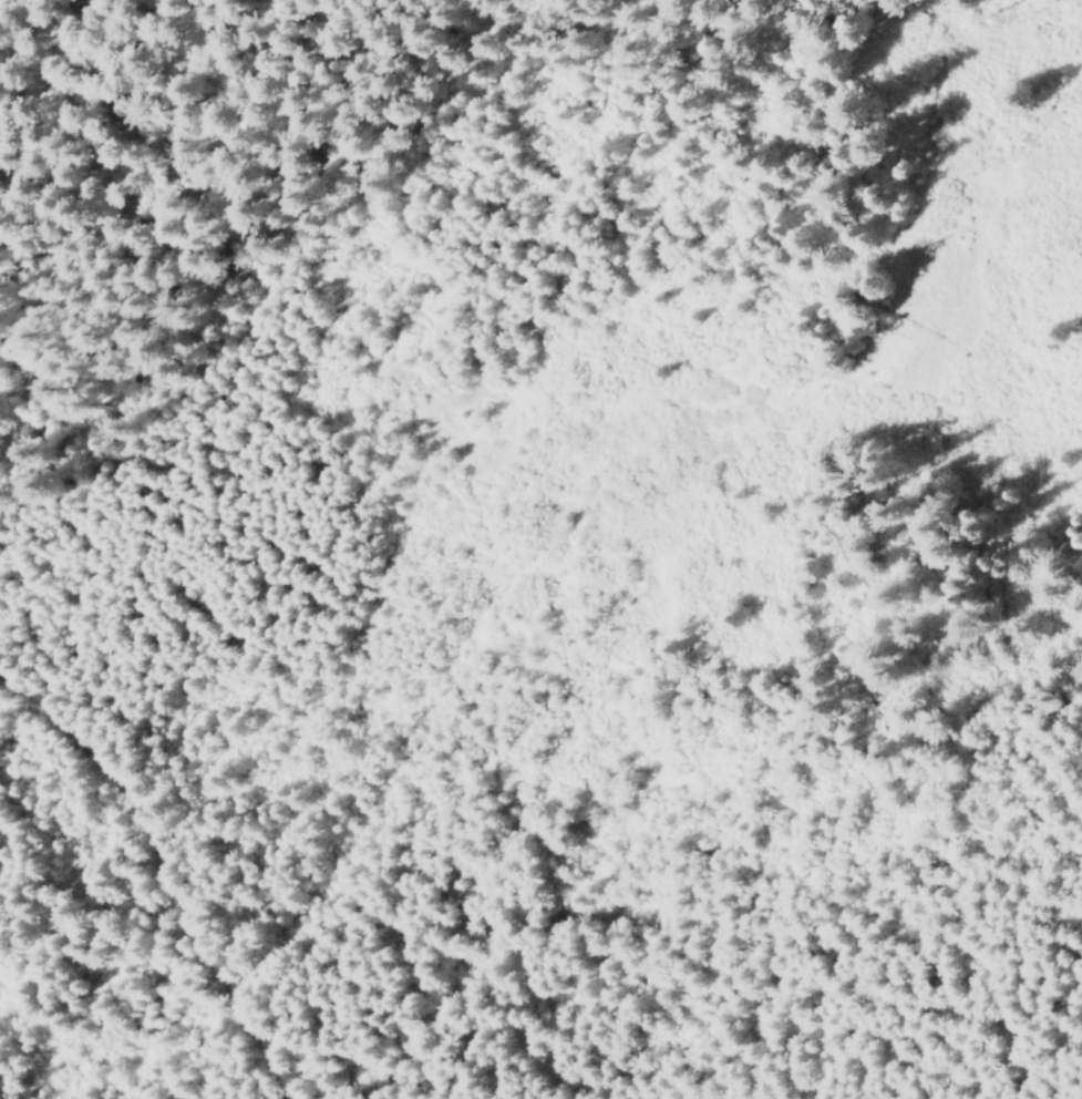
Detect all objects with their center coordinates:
road: (161, 879)

